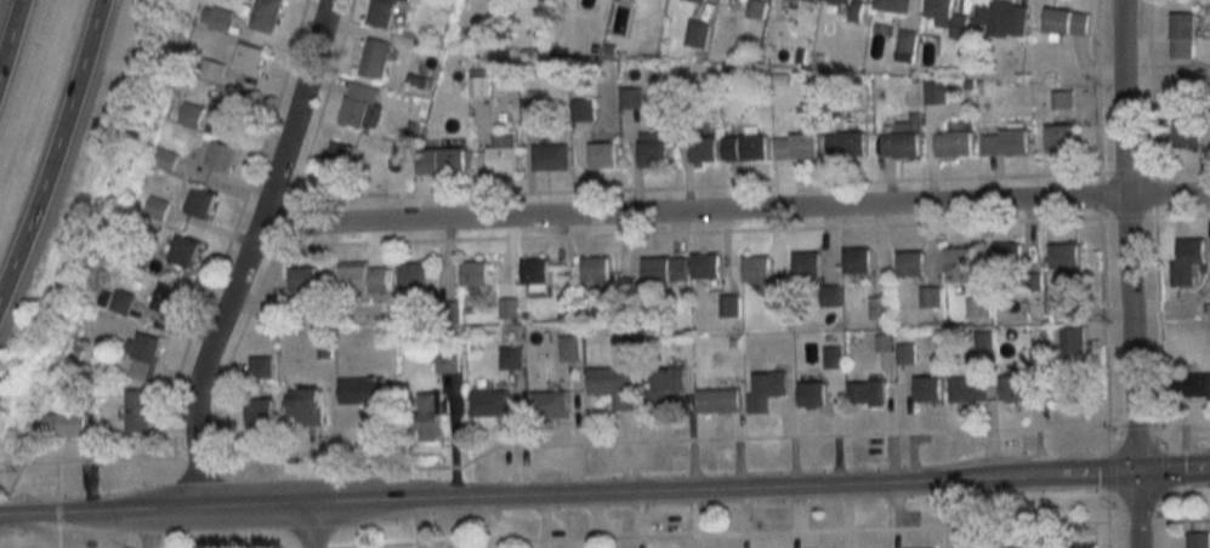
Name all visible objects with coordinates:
building: (553, 0)
building: (698, 0)
building: (809, 0)
building: (891, 6)
building: (757, 10)
building: (852, 10)
building: (382, 12)
building: (265, 15)
building: (947, 16)
building: (216, 18)
building: (1002, 18)
building: (1066, 21)
building: (698, 34)
building: (1183, 35)
road: (10, 36)
building: (905, 40)
building: (249, 57)
building: (377, 57)
building: (212, 69)
building: (1191, 80)
building: (481, 86)
building: (933, 92)
building: (632, 98)
building: (1063, 98)
building: (359, 107)
building: (584, 109)
building: (229, 110)
building: (189, 114)
building: (1187, 132)
building: (902, 137)
building: (1058, 138)
building: (1002, 142)
building: (845, 143)
building: (954, 144)
building: (795, 145)
building: (742, 147)
building: (651, 148)
building: (701, 149)
road: (56, 153)
building: (502, 153)
building: (601, 153)
building: (217, 154)
building: (551, 155)
building: (339, 158)
building: (164, 159)
building: (439, 160)
building: (200, 202)
road: (733, 210)
road: (1124, 236)
building: (184, 251)
road: (246, 251)
building: (1068, 253)
building: (1009, 255)
building: (1186, 258)
building: (856, 259)
building: (909, 262)
building: (806, 263)
building: (704, 266)
building: (955, 266)
building: (595, 267)
building: (754, 268)
building: (657, 269)
building: (534, 270)
building: (473, 273)
building: (359, 279)
building: (407, 279)
building: (303, 285)
building: (829, 295)
building: (930, 297)
building: (166, 299)
building: (977, 306)
building: (1066, 306)
building: (731, 307)
building: (877, 308)
building: (509, 309)
building: (271, 314)
building: (1070, 338)
building: (884, 342)
building: (569, 348)
building: (904, 352)
building: (513, 355)
building: (833, 355)
building: (143, 356)
building: (448, 363)
building: (259, 367)
building: (1189, 383)
building: (613, 386)
building: (663, 386)
building: (965, 387)
building: (767, 388)
building: (925, 388)
building: (1013, 388)
building: (1069, 388)
building: (363, 390)
building: (865, 393)
building: (811, 394)
building: (715, 399)
building: (490, 403)
building: (549, 403)
building: (306, 407)
building: (136, 411)
building: (254, 415)
building: (426, 417)
building: (63, 424)
road: (1171, 474)
traffic signals: (1134, 475)
road: (566, 491)
road: (1134, 512)
road: (308, 524)
building: (1198, 540)
building: (1080, 546)
building: (971, 547)
building: (1026, 547)

